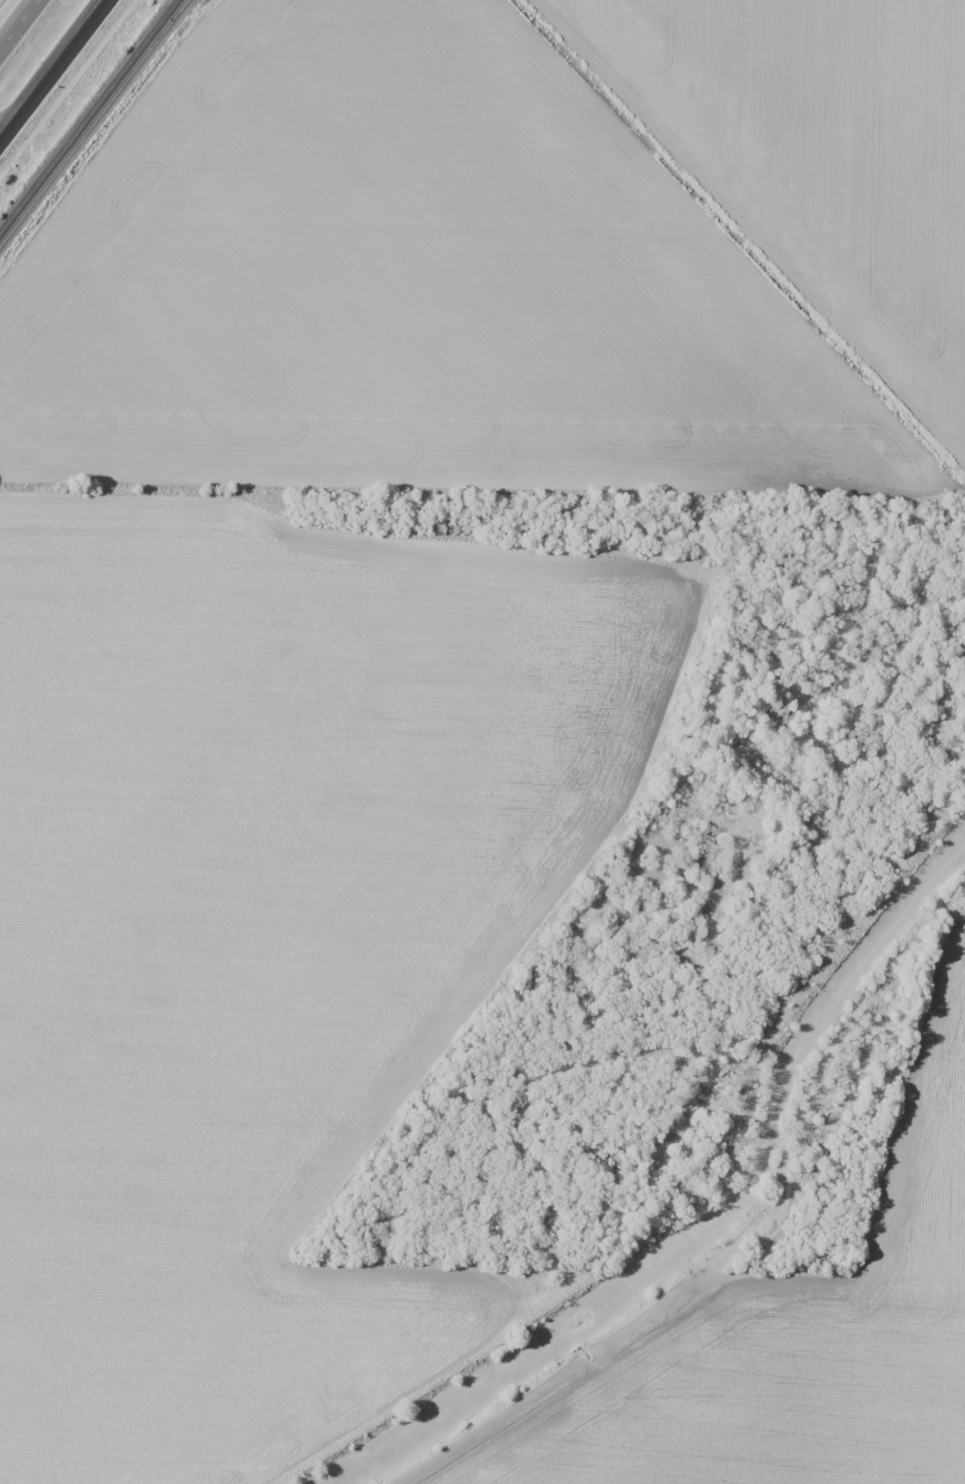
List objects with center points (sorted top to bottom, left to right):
road: (19, 25)
road: (53, 70)
railway: (87, 114)
railway: (93, 122)

